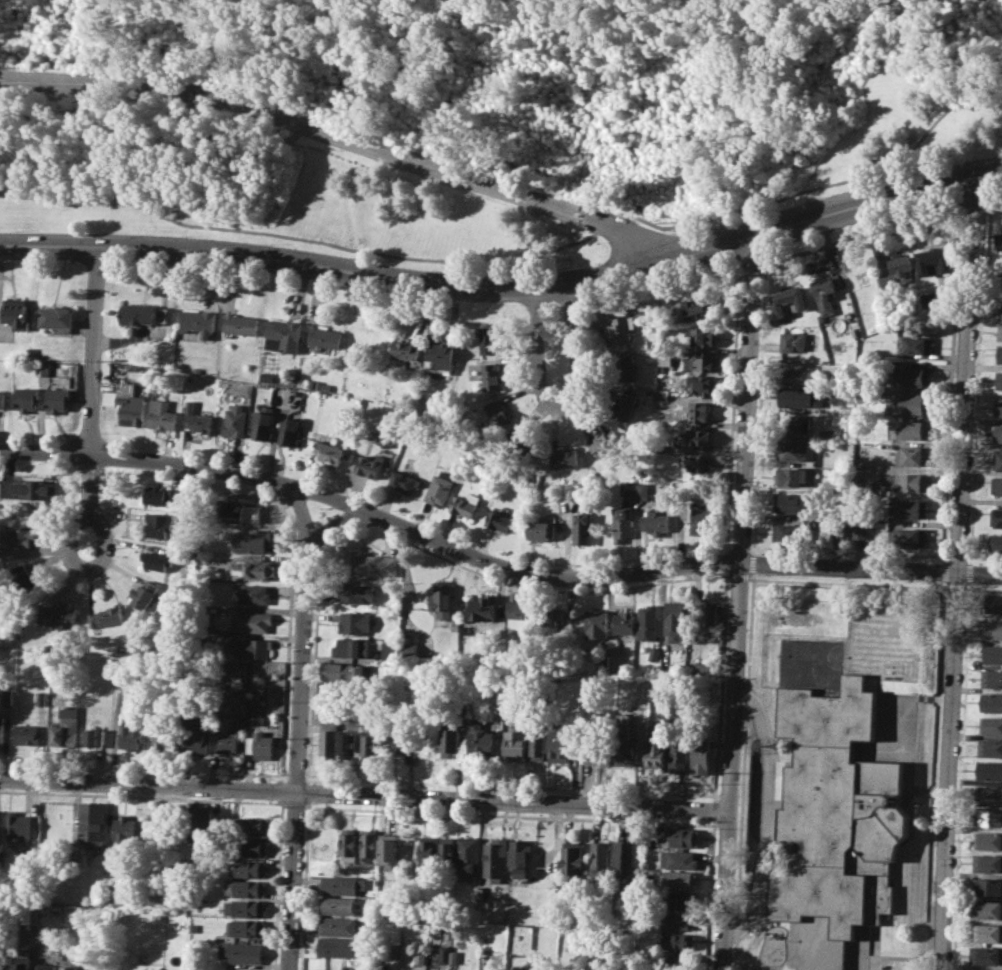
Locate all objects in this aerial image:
road: (273, 115)
park: (476, 117)
road: (991, 202)
road: (575, 207)
road: (971, 207)
road: (571, 218)
road: (640, 240)
building: (998, 240)
building: (934, 259)
road: (521, 262)
building: (898, 272)
road: (507, 286)
building: (825, 295)
building: (789, 298)
building: (930, 299)
building: (697, 309)
building: (18, 312)
building: (144, 315)
building: (1000, 316)
building: (59, 317)
building: (198, 321)
building: (241, 324)
building: (620, 329)
road: (440, 330)
building: (1000, 332)
building: (283, 335)
building: (326, 335)
building: (704, 336)
building: (488, 339)
building: (793, 342)
building: (918, 344)
building: (406, 348)
building: (999, 353)
building: (442, 355)
building: (664, 359)
building: (700, 362)
building: (624, 367)
building: (43, 369)
building: (197, 369)
building: (492, 375)
building: (800, 376)
building: (912, 376)
building: (267, 377)
building: (999, 379)
building: (315, 384)
building: (702, 385)
building: (328, 387)
road: (733, 397)
building: (800, 397)
building: (3, 398)
building: (28, 398)
building: (660, 398)
building: (59, 399)
road: (757, 400)
building: (128, 403)
building: (909, 403)
building: (624, 405)
building: (998, 406)
road: (562, 407)
building: (699, 410)
building: (497, 413)
building: (162, 416)
building: (196, 419)
building: (235, 421)
building: (262, 423)
building: (794, 423)
building: (913, 430)
building: (289, 431)
building: (998, 432)
building: (824, 435)
building: (698, 437)
building: (603, 442)
building: (518, 447)
road: (91, 450)
building: (792, 450)
building: (330, 451)
building: (913, 455)
building: (564, 457)
building: (997, 460)
building: (698, 463)
building: (370, 464)
building: (792, 476)
building: (405, 480)
building: (903, 481)
building: (997, 485)
building: (29, 487)
building: (626, 487)
building: (439, 488)
building: (642, 490)
building: (563, 491)
building: (577, 491)
building: (162, 496)
building: (788, 502)
building: (466, 504)
building: (907, 508)
building: (240, 512)
building: (694, 515)
building: (996, 516)
road: (301, 519)
building: (499, 520)
building: (655, 520)
building: (622, 523)
building: (159, 524)
building: (839, 528)
road: (334, 529)
building: (582, 529)
building: (860, 529)
building: (539, 530)
building: (788, 530)
building: (17, 536)
building: (910, 537)
building: (253, 540)
building: (995, 541)
road: (956, 556)
road: (983, 557)
road: (622, 559)
building: (156, 560)
road: (727, 560)
building: (373, 563)
road: (493, 564)
building: (257, 569)
road: (957, 570)
road: (729, 574)
road: (740, 575)
building: (23, 579)
road: (845, 582)
road: (955, 586)
road: (985, 587)
building: (358, 592)
building: (254, 593)
building: (143, 594)
building: (441, 600)
road: (739, 603)
building: (993, 603)
building: (482, 607)
building: (57, 613)
building: (518, 614)
building: (708, 614)
building: (106, 615)
building: (552, 615)
building: (253, 620)
building: (675, 620)
building: (355, 622)
building: (623, 622)
building: (647, 622)
building: (596, 623)
building: (462, 628)
building: (993, 629)
building: (350, 646)
building: (251, 648)
building: (654, 654)
building: (992, 654)
building: (602, 661)
building: (703, 666)
building: (342, 672)
road: (299, 675)
building: (992, 678)
building: (8, 696)
building: (41, 698)
building: (991, 702)
building: (462, 711)
building: (991, 724)
building: (65, 731)
building: (1, 734)
building: (26, 734)
building: (164, 735)
building: (226, 735)
building: (130, 736)
building: (401, 736)
building: (94, 737)
building: (194, 739)
building: (481, 740)
building: (328, 741)
building: (346, 742)
building: (450, 742)
building: (539, 742)
building: (261, 743)
building: (559, 743)
building: (369, 744)
building: (515, 744)
building: (990, 747)
building: (627, 749)
building: (596, 751)
building: (657, 754)
building: (680, 754)
building: (702, 755)
road: (143, 769)
building: (990, 769)
road: (776, 776)
road: (296, 777)
road: (624, 790)
road: (365, 794)
building: (989, 794)
road: (143, 797)
road: (717, 797)
road: (294, 804)
road: (716, 809)
parking lot: (757, 811)
road: (509, 814)
road: (762, 814)
building: (836, 815)
building: (988, 817)
building: (92, 822)
building: (17, 824)
building: (200, 825)
building: (252, 826)
building: (124, 832)
building: (684, 836)
building: (989, 840)
building: (350, 844)
building: (370, 846)
building: (251, 847)
building: (388, 848)
building: (428, 850)
building: (447, 851)
building: (468, 856)
building: (520, 856)
building: (573, 857)
building: (600, 858)
building: (625, 858)
building: (495, 859)
building: (680, 859)
building: (989, 862)
building: (250, 868)
building: (682, 879)
road: (291, 880)
building: (343, 885)
building: (990, 886)
road: (305, 887)
building: (245, 888)
building: (111, 893)
road: (712, 894)
building: (479, 895)
building: (683, 901)
building: (338, 905)
building: (248, 908)
building: (986, 910)
building: (382, 911)
building: (682, 920)
building: (338, 925)
building: (246, 927)
building: (986, 932)
building: (681, 941)
building: (336, 946)
building: (396, 950)
building: (241, 952)
building: (445, 953)
building: (985, 954)
building: (421, 956)
building: (453, 956)
building: (683, 961)
building: (5, 962)
building: (21, 962)
building: (68, 964)
building: (45, 967)
building: (488, 968)
parking lot: (856, 968)
building: (143, 969)
building: (981, 969)

